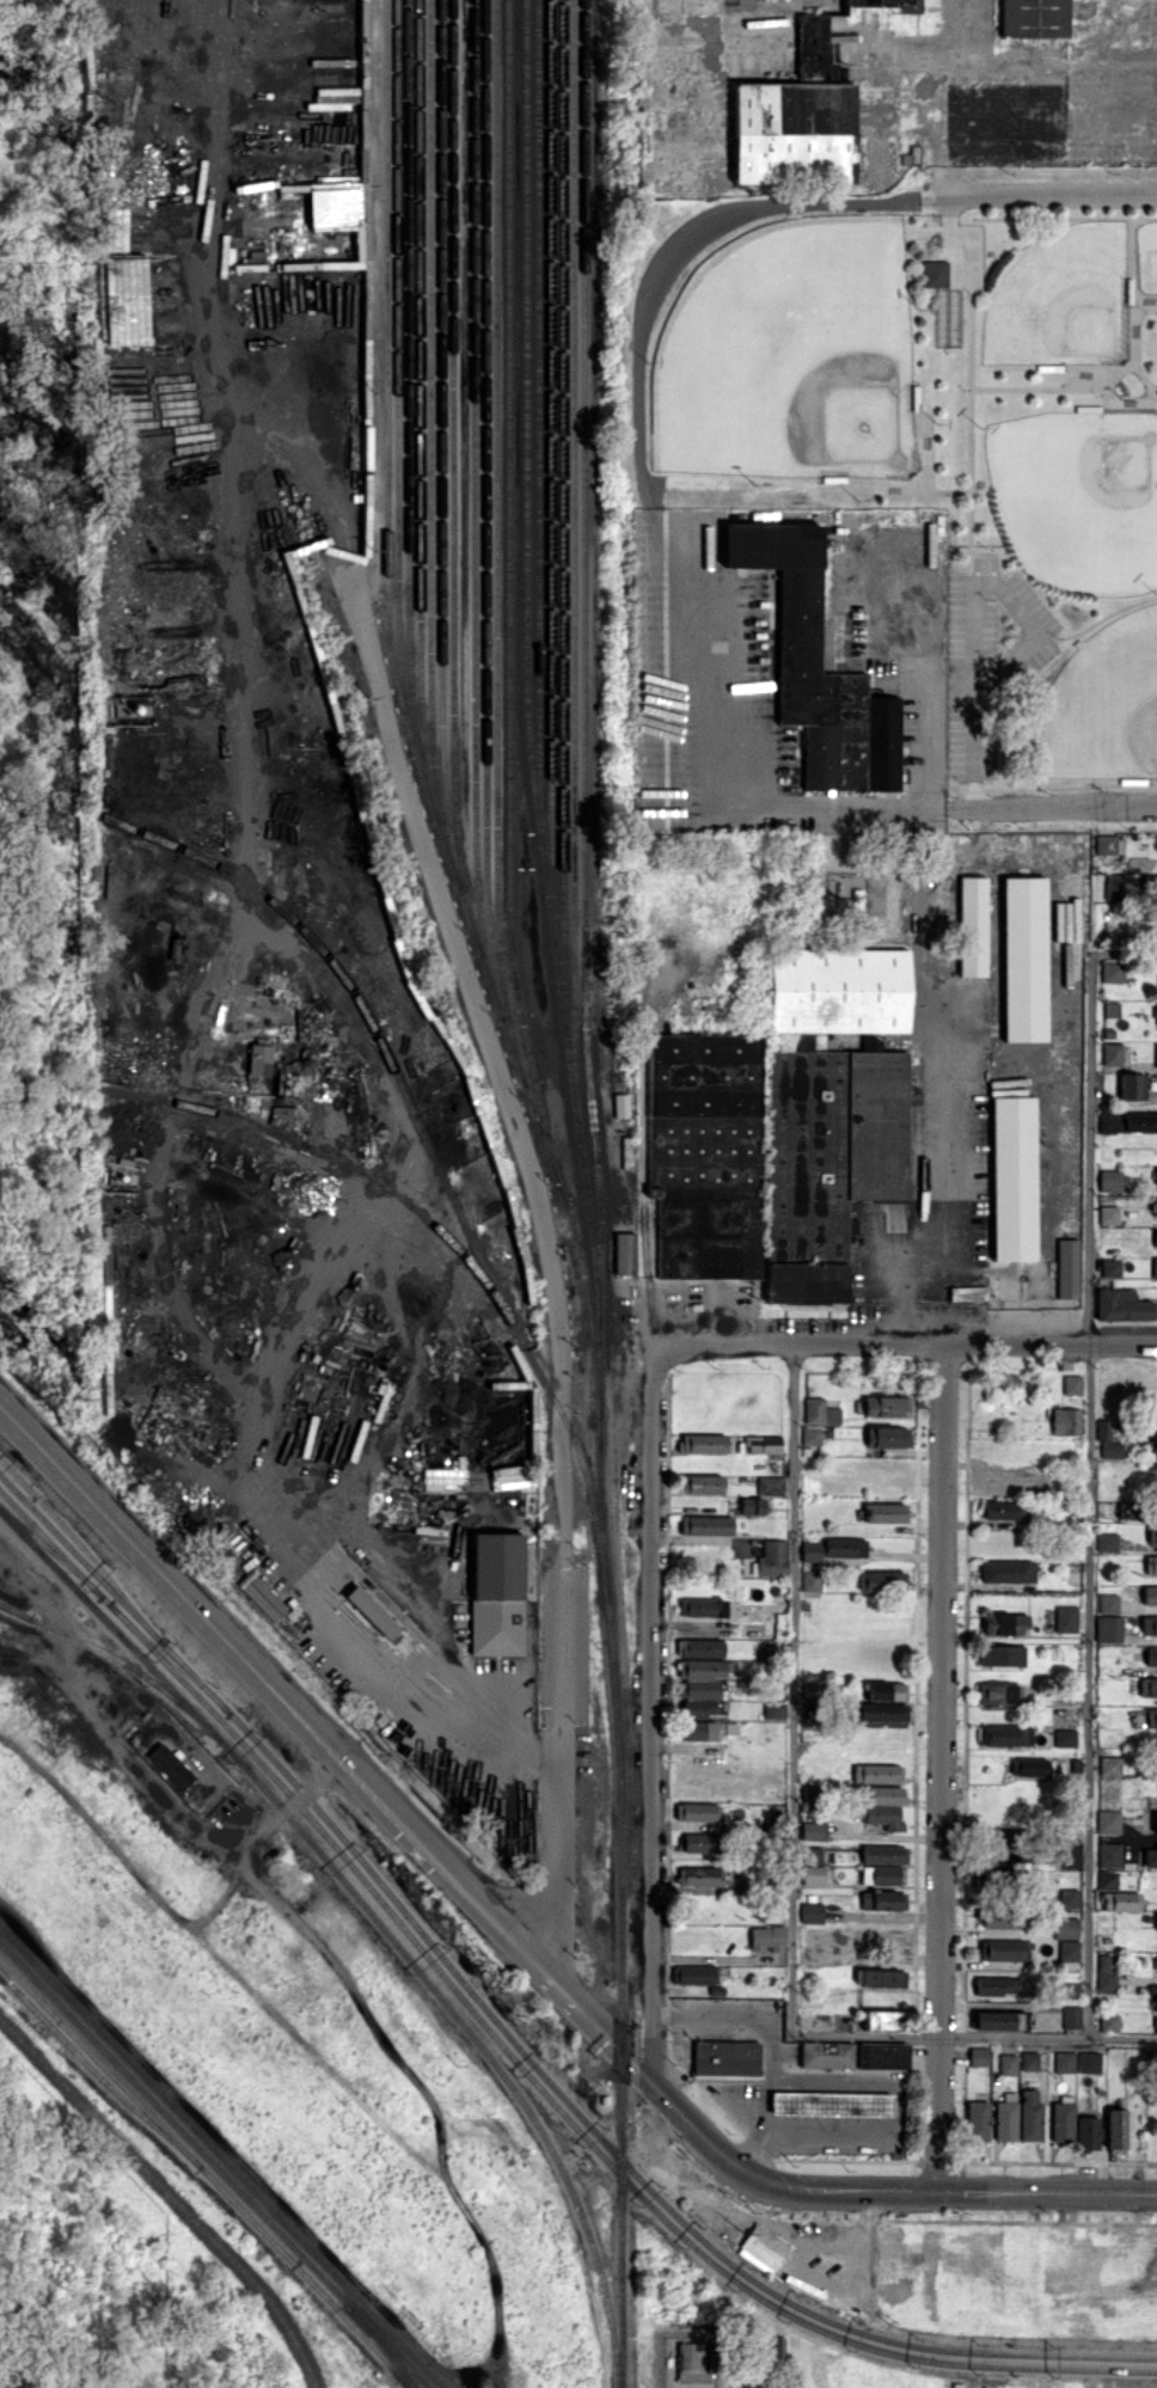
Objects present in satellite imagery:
building: (888, 5)
building: (1033, 20)
building: (333, 98)
building: (795, 117)
road: (1052, 194)
building: (337, 207)
park: (1147, 256)
building: (933, 274)
park: (1061, 298)
park: (790, 353)
railway: (397, 376)
road: (636, 398)
railway: (418, 410)
railway: (385, 412)
railway: (525, 422)
railway: (537, 422)
park: (939, 436)
railway: (429, 443)
railway: (440, 443)
railway: (408, 446)
railway: (550, 473)
park: (1079, 496)
railway: (496, 508)
railway: (484, 509)
railway: (475, 510)
railway: (561, 516)
railway: (452, 546)
railway: (573, 563)
railway: (508, 602)
road: (973, 607)
building: (816, 666)
parking lot: (997, 673)
road: (924, 688)
park: (1103, 704)
road: (858, 804)
road: (1051, 806)
building: (1104, 843)
building: (1149, 883)
building: (1113, 886)
railway: (546, 895)
railway: (469, 919)
building: (973, 925)
road: (1125, 951)
building: (1024, 959)
building: (1065, 965)
building: (1112, 970)
railway: (558, 990)
building: (1156, 1014)
railway: (515, 1051)
building: (1112, 1053)
building: (1156, 1057)
building: (258, 1059)
railway: (570, 1078)
building: (1132, 1085)
building: (832, 1095)
building: (619, 1104)
building: (1125, 1120)
railway: (426, 1141)
building: (705, 1152)
railway: (343, 1162)
building: (1156, 1175)
building: (1014, 1177)
building: (1109, 1180)
railway: (598, 1194)
road: (959, 1205)
building: (1155, 1206)
building: (1107, 1214)
railway: (589, 1225)
building: (1155, 1237)
railway: (577, 1248)
building: (623, 1253)
building: (1110, 1267)
building: (1155, 1267)
building: (1066, 1268)
building: (806, 1282)
building: (967, 1292)
building: (1121, 1305)
road: (904, 1345)
building: (1072, 1384)
building: (886, 1406)
building: (820, 1412)
building: (1065, 1421)
building: (1153, 1432)
building: (810, 1434)
building: (887, 1437)
building: (1107, 1440)
building: (703, 1443)
building: (763, 1444)
building: (700, 1483)
building: (769, 1484)
road: (1090, 1494)
building: (751, 1505)
building: (999, 1510)
building: (1127, 1510)
building: (884, 1512)
building: (705, 1524)
building: (1151, 1533)
building: (1107, 1542)
building: (844, 1548)
railway: (85, 1549)
railway: (50, 1550)
building: (810, 1550)
building: (772, 1557)
building: (1151, 1565)
building: (1006, 1572)
building: (810, 1579)
road: (169, 1580)
building: (882, 1581)
building: (495, 1593)
building: (1150, 1594)
building: (261, 1596)
building: (1108, 1603)
building: (700, 1606)
railway: (14, 1609)
building: (371, 1611)
building: (1065, 1618)
building: (1004, 1623)
building: (1149, 1625)
building: (1108, 1628)
building: (700, 1647)
building: (1000, 1654)
building: (1151, 1655)
railway: (170, 1657)
railway: (118, 1659)
building: (699, 1685)
building: (1147, 1686)
road: (791, 1688)
building: (886, 1690)
building: (1000, 1692)
building: (773, 1709)
building: (879, 1710)
road: (650, 1713)
building: (1151, 1717)
building: (697, 1729)
building: (1002, 1734)
building: (1065, 1737)
building: (170, 1765)
building: (1110, 1765)
road: (143, 1766)
road: (942, 1766)
building: (1029, 1766)
building: (876, 1772)
road: (553, 1794)
building: (880, 1806)
railway: (318, 1810)
building: (697, 1811)
building: (1108, 1821)
building: (1156, 1823)
railway: (318, 1826)
building: (813, 1830)
building: (1000, 1839)
building: (700, 1842)
building: (810, 1854)
building: (883, 1854)
building: (1109, 1854)
building: (1069, 1856)
building: (1150, 1856)
road: (442, 1866)
building: (813, 1874)
building: (881, 1874)
building: (700, 1876)
building: (990, 1878)
building: (1107, 1879)
building: (1069, 1898)
building: (883, 1899)
building: (1121, 1900)
railway: (371, 1912)
building: (810, 1912)
building: (1003, 1917)
building: (1156, 1925)
building: (1065, 1927)
building: (819, 1933)
building: (881, 1936)
building: (766, 1937)
building: (1000, 1949)
building: (1069, 1949)
building: (808, 1957)
building: (1155, 1963)
building: (692, 1973)
building: (1104, 1973)
building: (879, 1977)
building: (998, 1985)
building: (1066, 1988)
building: (1156, 2002)
building: (1071, 2016)
building: (881, 2019)
building: (996, 2020)
building: (1108, 2021)
building: (1156, 2025)
road: (599, 2029)
road: (974, 2034)
road: (770, 2037)
building: (826, 2053)
building: (882, 2055)
building: (978, 2056)
building: (726, 2059)
building: (1029, 2059)
building: (1064, 2061)
building: (1089, 2062)
building: (1008, 2063)
railway: (97, 2074)
building: (831, 2102)
building: (1030, 2115)
building: (978, 2119)
building: (1005, 2120)
building: (1061, 2120)
road: (694, 2126)
building: (1115, 2127)
road: (830, 2129)
building: (1088, 2132)
railway: (221, 2157)
railway: (214, 2166)
railway: (206, 2173)
road: (947, 2190)
railway: (170, 2194)
road: (938, 2237)
building: (763, 2248)
park: (103, 2276)
railway: (757, 2294)
railway: (741, 2296)
railway: (764, 2327)
railway: (861, 2333)
road: (973, 2339)
railway: (382, 2344)
railway: (862, 2345)
building: (778, 2346)
building: (764, 2358)
building: (691, 2362)
road: (789, 2378)

